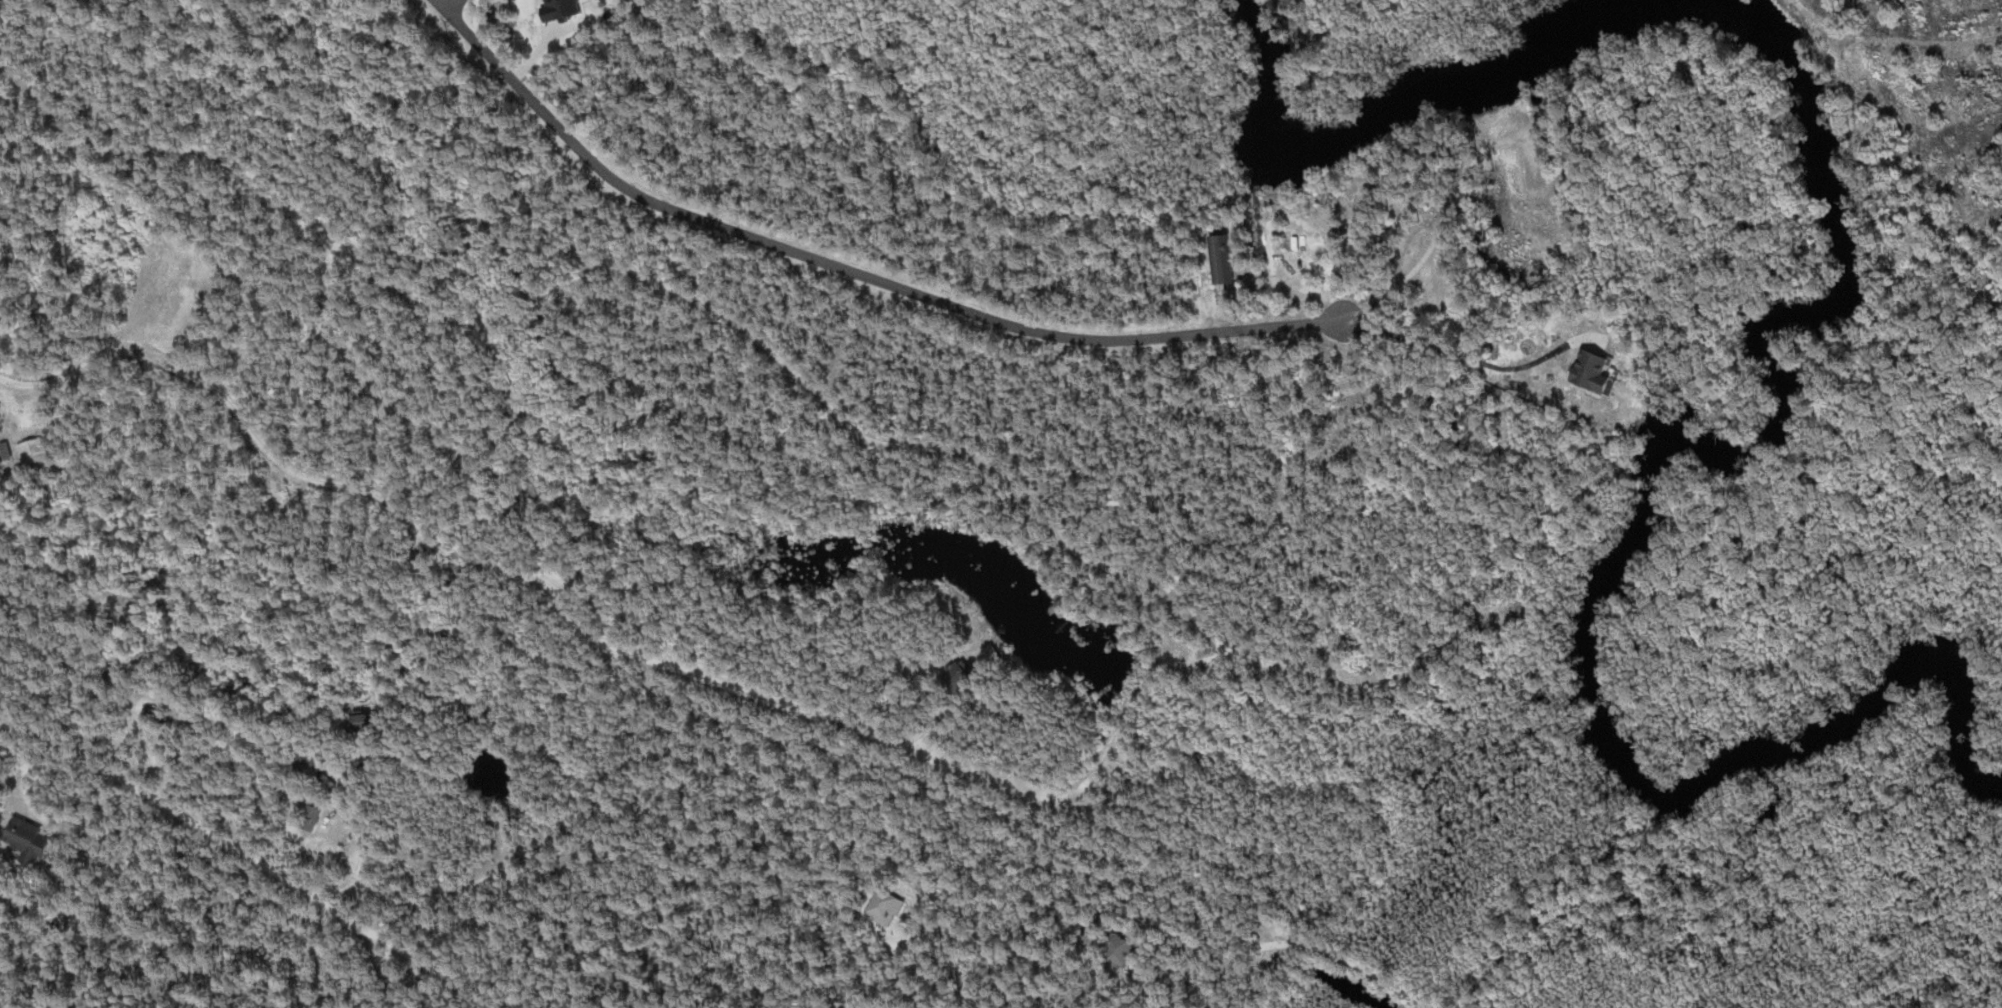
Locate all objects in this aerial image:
road: (451, 8)
building: (569, 9)
building: (1228, 259)
road: (847, 267)
building: (1583, 371)
building: (36, 451)
building: (1000, 651)
building: (967, 674)
building: (155, 713)
building: (482, 716)
building: (374, 720)
building: (310, 763)
road: (31, 797)
building: (731, 812)
building: (314, 816)
building: (32, 839)
road: (222, 840)
road: (479, 880)
building: (891, 907)
building: (1125, 951)
road: (1317, 953)
road: (433, 968)

